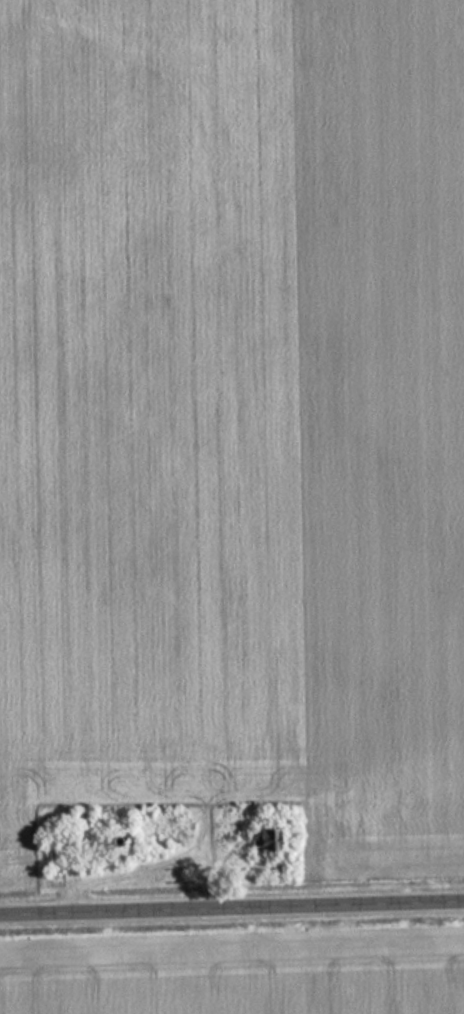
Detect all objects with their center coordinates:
building: (260, 840)
building: (112, 842)
road: (232, 902)

